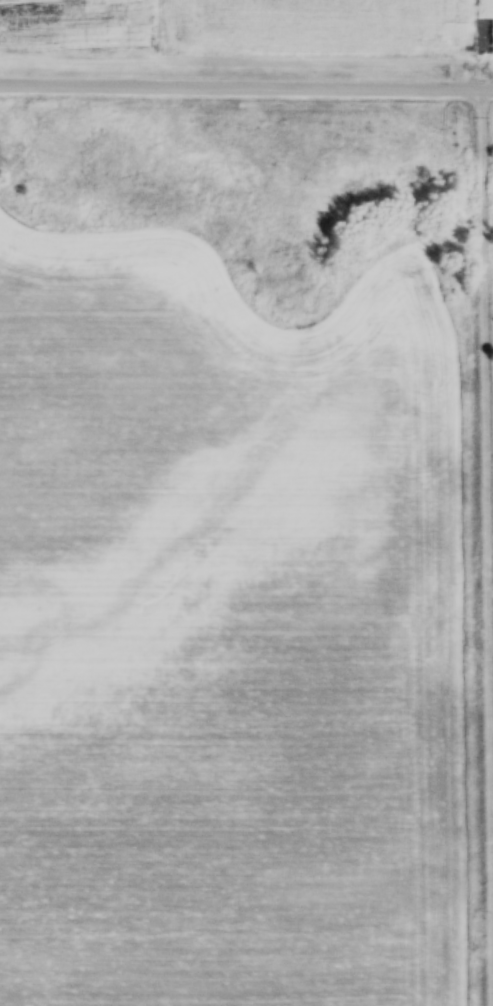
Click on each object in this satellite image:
road: (246, 84)

